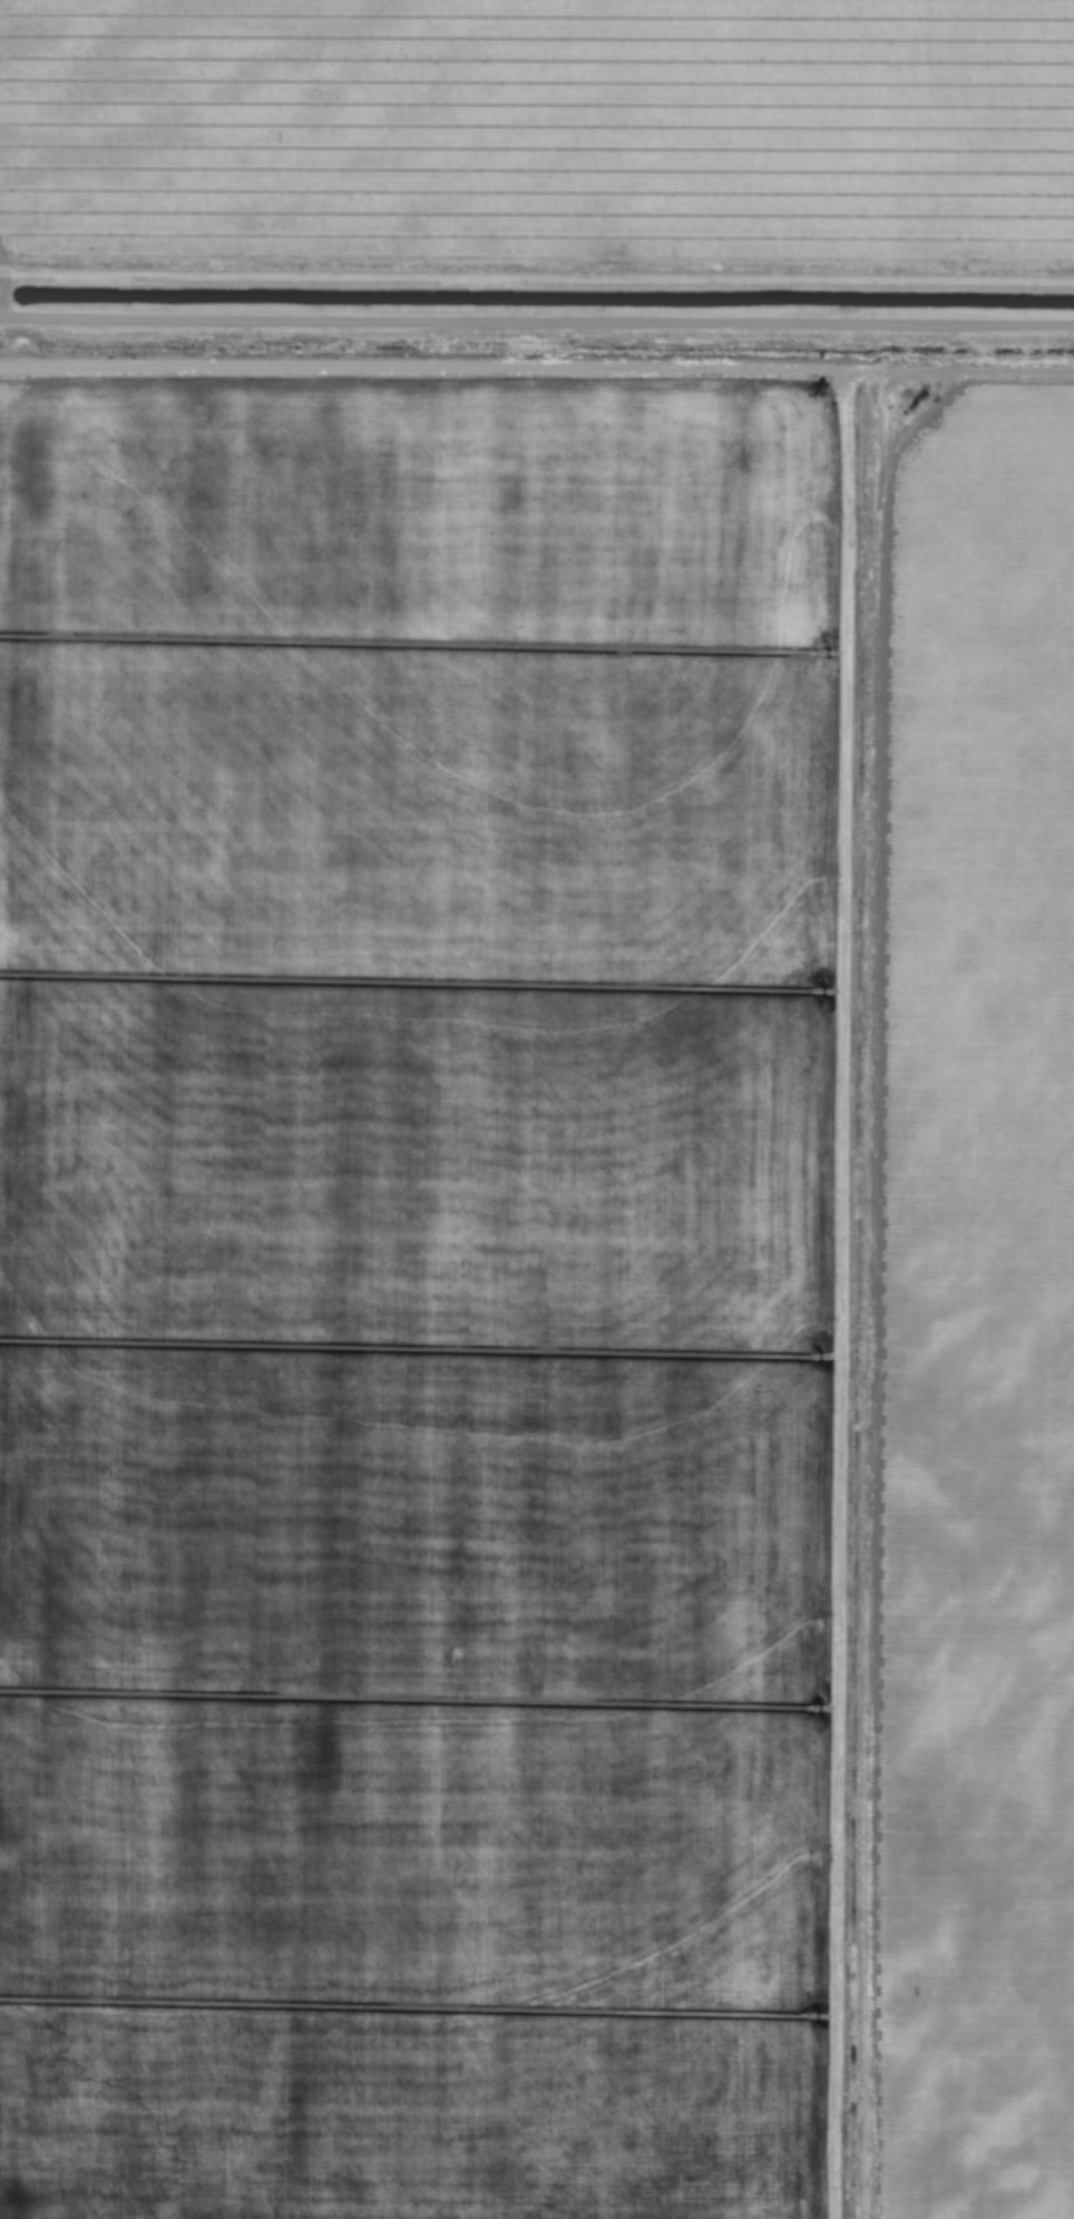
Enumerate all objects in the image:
road: (537, 359)

